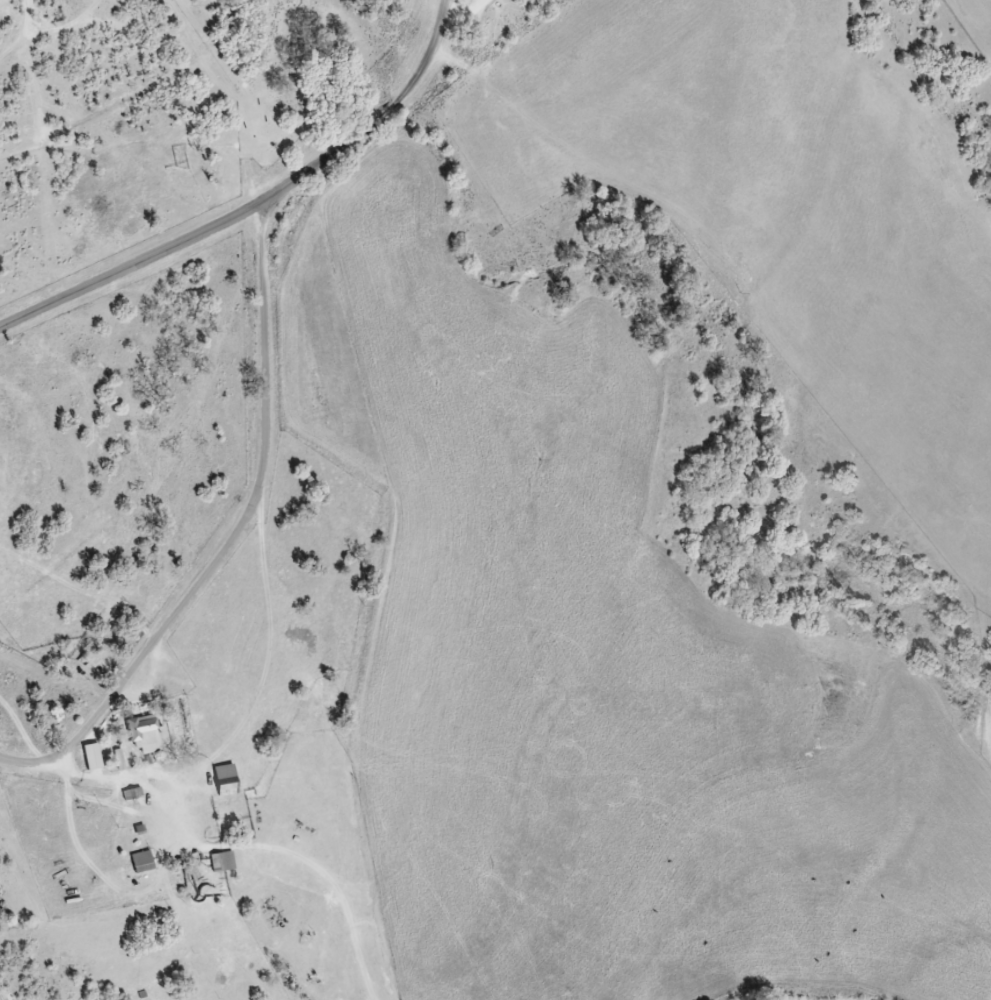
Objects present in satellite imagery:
road: (467, 22)
road: (136, 260)
road: (265, 388)
building: (146, 736)
road: (16, 762)
road: (122, 780)
building: (225, 781)
building: (142, 862)
building: (223, 862)

